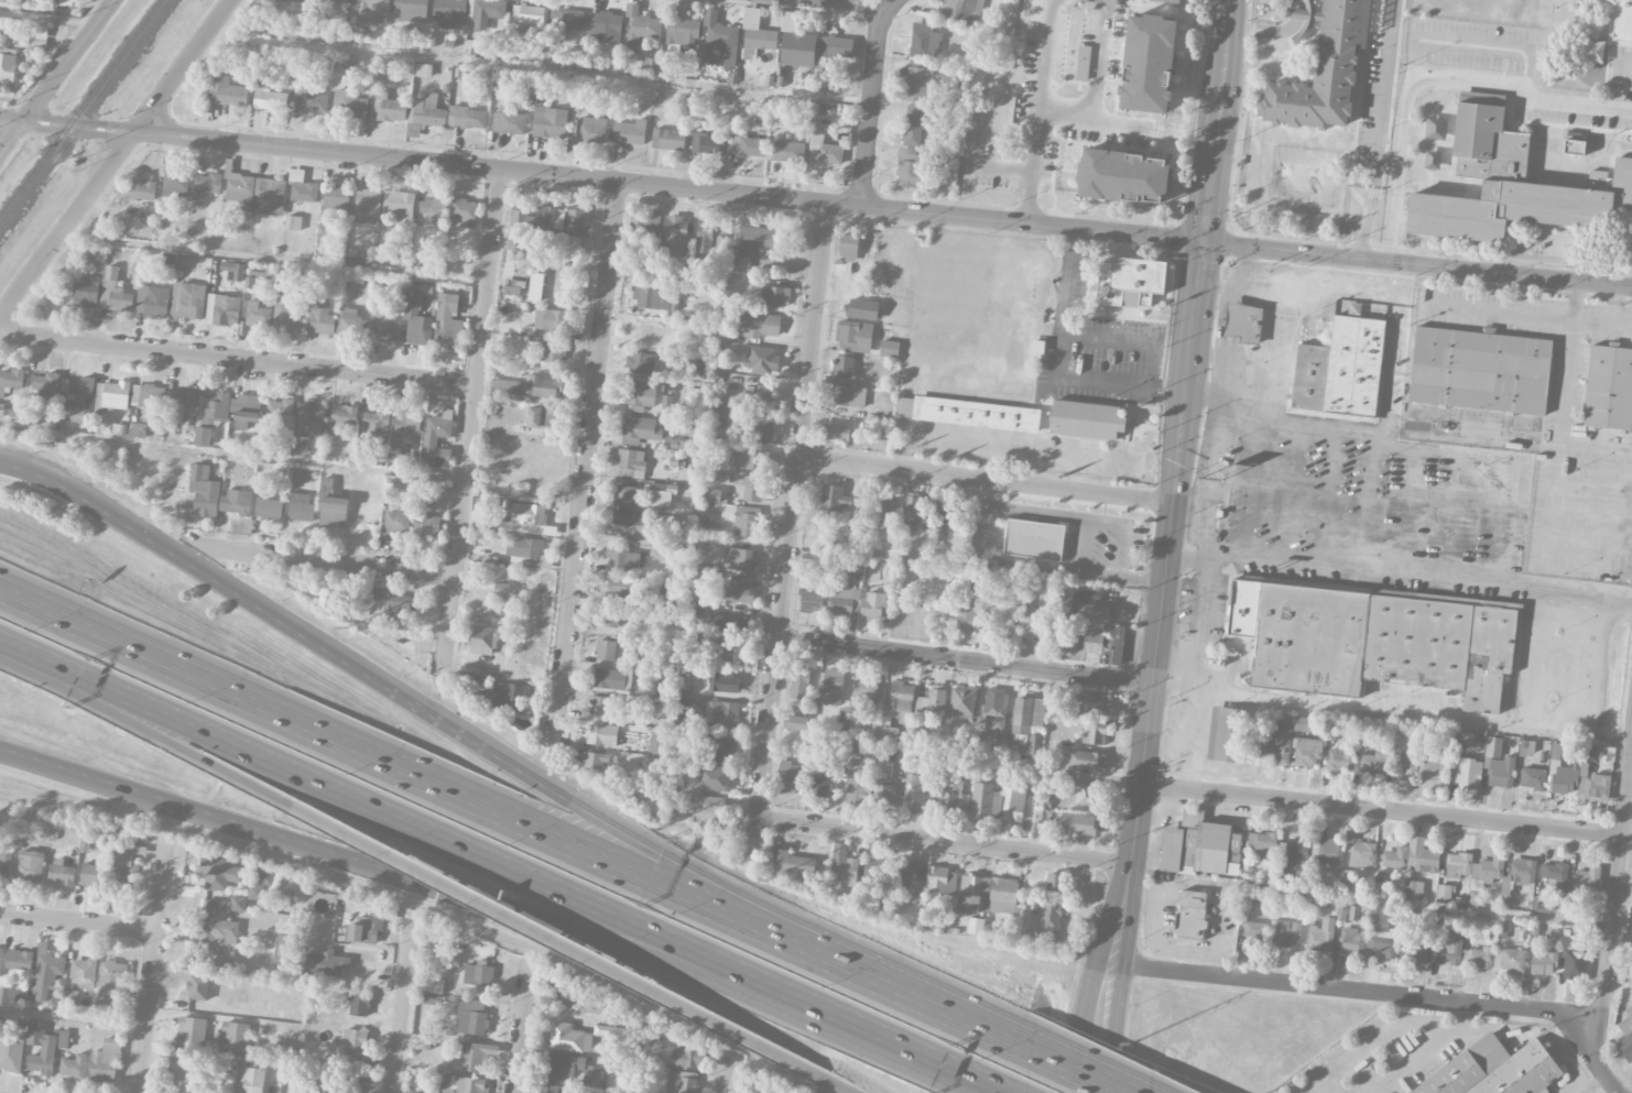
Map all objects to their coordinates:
building: (296, 1)
building: (335, 1)
building: (1168, 1)
building: (31, 3)
road: (868, 4)
building: (411, 7)
building: (961, 10)
park: (1530, 10)
building: (369, 12)
building: (449, 12)
building: (566, 19)
building: (1621, 20)
road: (45, 22)
building: (605, 28)
building: (640, 28)
road: (1274, 29)
building: (683, 31)
building: (755, 35)
building: (925, 41)
building: (719, 42)
building: (796, 44)
road: (1473, 44)
building: (836, 47)
road: (1099, 59)
building: (1082, 62)
building: (1149, 62)
building: (649, 64)
building: (8, 65)
road: (537, 69)
building: (423, 70)
road: (55, 75)
building: (1321, 75)
road: (1435, 79)
building: (922, 84)
building: (226, 92)
road: (1385, 95)
building: (270, 100)
road: (870, 100)
building: (311, 101)
building: (348, 105)
building: (389, 108)
railway: (81, 110)
road: (1040, 111)
building: (425, 116)
railway: (86, 118)
building: (467, 118)
road: (1096, 120)
building: (509, 121)
building: (550, 122)
building: (913, 127)
building: (630, 132)
building: (588, 133)
building: (668, 140)
building: (708, 144)
building: (746, 145)
building: (1574, 146)
building: (787, 151)
building: (824, 152)
road: (115, 156)
building: (913, 170)
building: (1125, 176)
building: (207, 183)
building: (175, 185)
building: (1513, 186)
building: (302, 188)
building: (240, 189)
building: (142, 190)
building: (271, 197)
building: (367, 199)
building: (336, 200)
road: (816, 201)
building: (399, 205)
building: (434, 209)
building: (463, 214)
building: (293, 223)
road: (1367, 223)
building: (544, 228)
building: (520, 229)
building: (644, 230)
building: (575, 233)
building: (674, 237)
traffic signals: (1204, 241)
building: (704, 242)
building: (720, 244)
building: (752, 244)
building: (848, 248)
building: (388, 253)
road: (271, 261)
building: (232, 271)
building: (1131, 281)
building: (86, 291)
building: (113, 291)
building: (774, 296)
building: (655, 299)
building: (152, 302)
building: (187, 302)
building: (224, 307)
building: (286, 316)
building: (320, 318)
building: (551, 319)
building: (416, 321)
building: (448, 323)
building: (1243, 323)
building: (351, 324)
building: (759, 325)
building: (385, 326)
building: (1047, 327)
building: (645, 332)
road: (1110, 339)
building: (889, 349)
building: (552, 352)
road: (236, 358)
building: (762, 359)
parking lot: (1099, 359)
building: (639, 362)
building: (844, 367)
building: (1341, 369)
building: (1479, 370)
road: (1057, 371)
building: (10, 381)
building: (46, 385)
building: (81, 387)
building: (525, 387)
building: (1609, 387)
building: (640, 395)
building: (111, 396)
building: (164, 396)
building: (759, 396)
building: (848, 396)
building: (280, 409)
building: (246, 411)
building: (7, 413)
building: (210, 413)
building: (977, 413)
building: (77, 415)
building: (344, 415)
building: (543, 417)
building: (311, 418)
building: (1086, 418)
building: (407, 422)
road: (468, 423)
building: (376, 424)
building: (639, 430)
building: (763, 431)
building: (836, 433)
building: (438, 437)
road: (1556, 440)
road: (1402, 441)
power tower: (53, 444)
building: (300, 446)
road: (231, 455)
building: (751, 460)
building: (631, 463)
road: (584, 464)
road: (986, 478)
road: (1176, 481)
road: (1251, 484)
building: (326, 485)
building: (753, 488)
road: (1290, 490)
building: (204, 492)
building: (661, 494)
road: (993, 494)
building: (711, 495)
building: (623, 496)
building: (834, 499)
building: (236, 502)
building: (885, 505)
building: (911, 506)
building: (300, 507)
road: (1013, 511)
building: (334, 512)
building: (529, 514)
road: (1063, 518)
building: (946, 520)
building: (396, 522)
building: (746, 522)
building: (704, 523)
road: (1090, 523)
building: (627, 525)
building: (426, 526)
road: (790, 527)
building: (479, 538)
building: (1034, 539)
building: (525, 551)
building: (621, 558)
building: (739, 558)
road: (326, 559)
road: (1011, 564)
road: (1400, 569)
road: (1140, 580)
building: (621, 587)
building: (979, 589)
building: (739, 590)
building: (812, 595)
building: (844, 601)
building: (388, 603)
building: (873, 605)
building: (1089, 605)
building: (968, 614)
building: (607, 619)
building: (727, 624)
building: (1031, 626)
power tower: (347, 629)
building: (483, 640)
building: (1372, 640)
road: (1201, 642)
building: (1107, 644)
building: (606, 649)
building: (729, 652)
building: (1077, 655)
road: (965, 660)
building: (612, 679)
building: (799, 682)
building: (723, 684)
building: (833, 687)
building: (866, 689)
building: (662, 690)
building: (505, 697)
building: (932, 703)
building: (962, 703)
building: (1092, 703)
building: (601, 707)
building: (896, 709)
building: (997, 709)
building: (725, 711)
road: (112, 712)
road: (435, 713)
building: (1026, 714)
road: (1434, 719)
building: (796, 723)
building: (1302, 723)
building: (873, 731)
building: (1221, 732)
building: (1094, 733)
road: (1584, 733)
building: (601, 734)
building: (1279, 739)
building: (657, 744)
building: (723, 751)
building: (1307, 751)
building: (1340, 758)
building: (1082, 759)
building: (595, 762)
building: (1372, 763)
building: (1499, 763)
building: (1406, 764)
building: (1435, 764)
building: (1469, 773)
building: (1562, 775)
building: (790, 777)
building: (1533, 777)
building: (714, 778)
building: (1592, 784)
building: (822, 785)
road: (433, 787)
building: (858, 793)
building: (918, 793)
building: (1082, 793)
building: (884, 795)
building: (983, 799)
building: (948, 802)
building: (1013, 804)
building: (708, 809)
road: (1385, 809)
road: (402, 818)
building: (1077, 823)
power tower: (656, 831)
road: (943, 840)
building: (1264, 844)
building: (1199, 846)
building: (1295, 850)
building: (1327, 850)
building: (1362, 853)
building: (1394, 856)
building: (1423, 856)
building: (4, 861)
building: (1458, 864)
building: (791, 865)
building: (30, 866)
building: (124, 866)
building: (842, 866)
building: (62, 873)
building: (873, 873)
building: (1554, 873)
building: (218, 874)
building: (1519, 874)
building: (909, 875)
building: (93, 876)
building: (1483, 876)
building: (264, 877)
road: (400, 877)
building: (940, 881)
building: (1054, 882)
building: (1586, 883)
road: (161, 884)
building: (1414, 889)
building: (1631, 889)
building: (1445, 892)
building: (973, 895)
building: (1003, 895)
building: (1192, 898)
building: (1541, 904)
road: (1615, 904)
building: (882, 905)
building: (1350, 912)
building: (1049, 919)
road: (77, 920)
building: (215, 923)
building: (1189, 923)
road: (527, 925)
building: (366, 930)
building: (1254, 931)
building: (1381, 931)
building: (1286, 933)
building: (1320, 936)
building: (1351, 941)
building: (1417, 948)
building: (284, 950)
building: (0, 951)
building: (1460, 952)
building: (19, 960)
building: (1509, 960)
building: (1544, 962)
building: (326, 964)
building: (45, 972)
building: (84, 973)
building: (479, 974)
building: (111, 982)
building: (435, 985)
building: (198, 987)
building: (22, 994)
building: (565, 994)
road: (1386, 994)
building: (359, 1003)
building: (591, 1006)
road: (146, 1010)
road: (400, 1010)
building: (471, 1016)
road: (953, 1020)
road: (520, 1026)
road: (1101, 1027)
road: (1388, 1027)
building: (192, 1031)
building: (1626, 1036)
building: (235, 1037)
building: (568, 1038)
building: (63, 1039)
building: (355, 1042)
power tower: (1129, 1045)
road: (903, 1047)
building: (41, 1051)
building: (476, 1054)
building: (176, 1056)
building: (10, 1057)
building: (689, 1059)
building: (106, 1061)
building: (73, 1067)
building: (588, 1070)
building: (1493, 1070)
road: (723, 1074)
road: (1075, 1076)
building: (185, 1079)
building: (249, 1080)
building: (683, 1083)
road: (1595, 1084)
building: (459, 1085)
road: (841, 1086)
building: (554, 1089)

